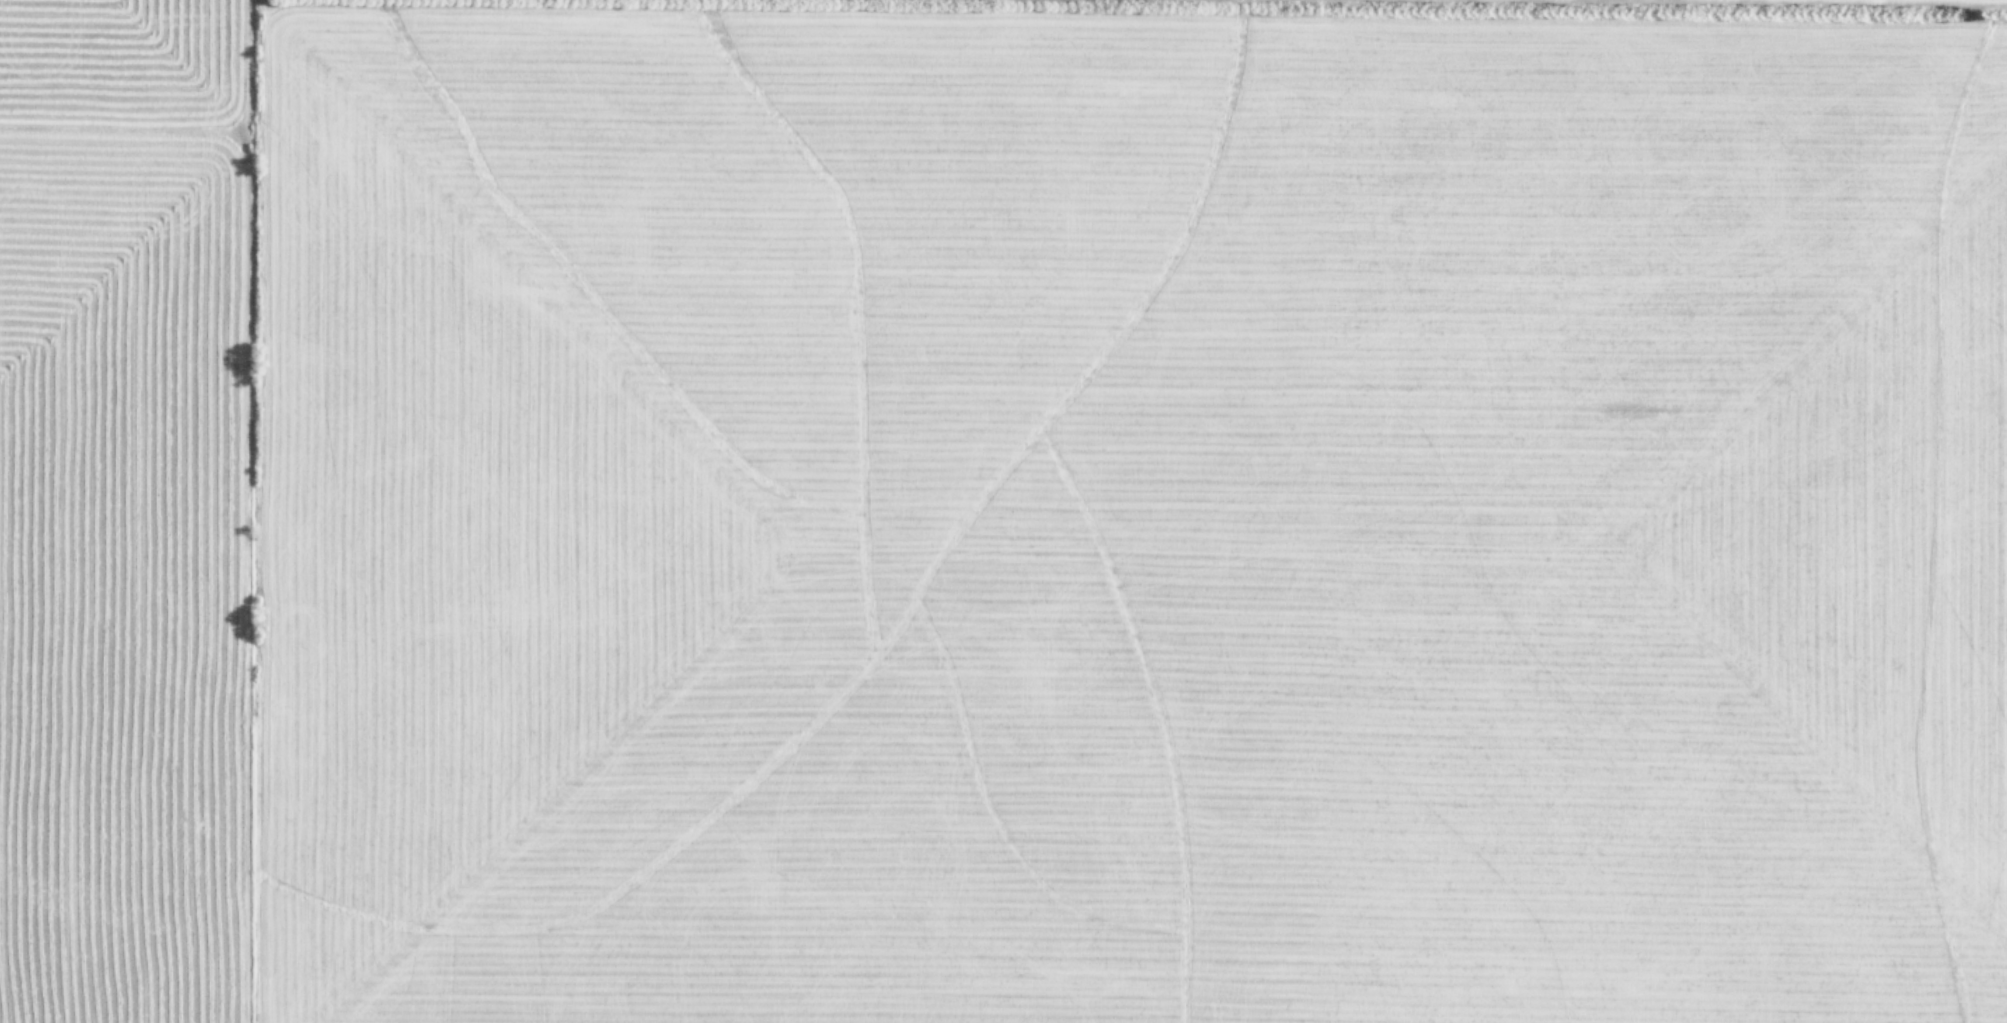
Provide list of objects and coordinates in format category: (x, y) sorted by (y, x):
crop: (1003, 511)

